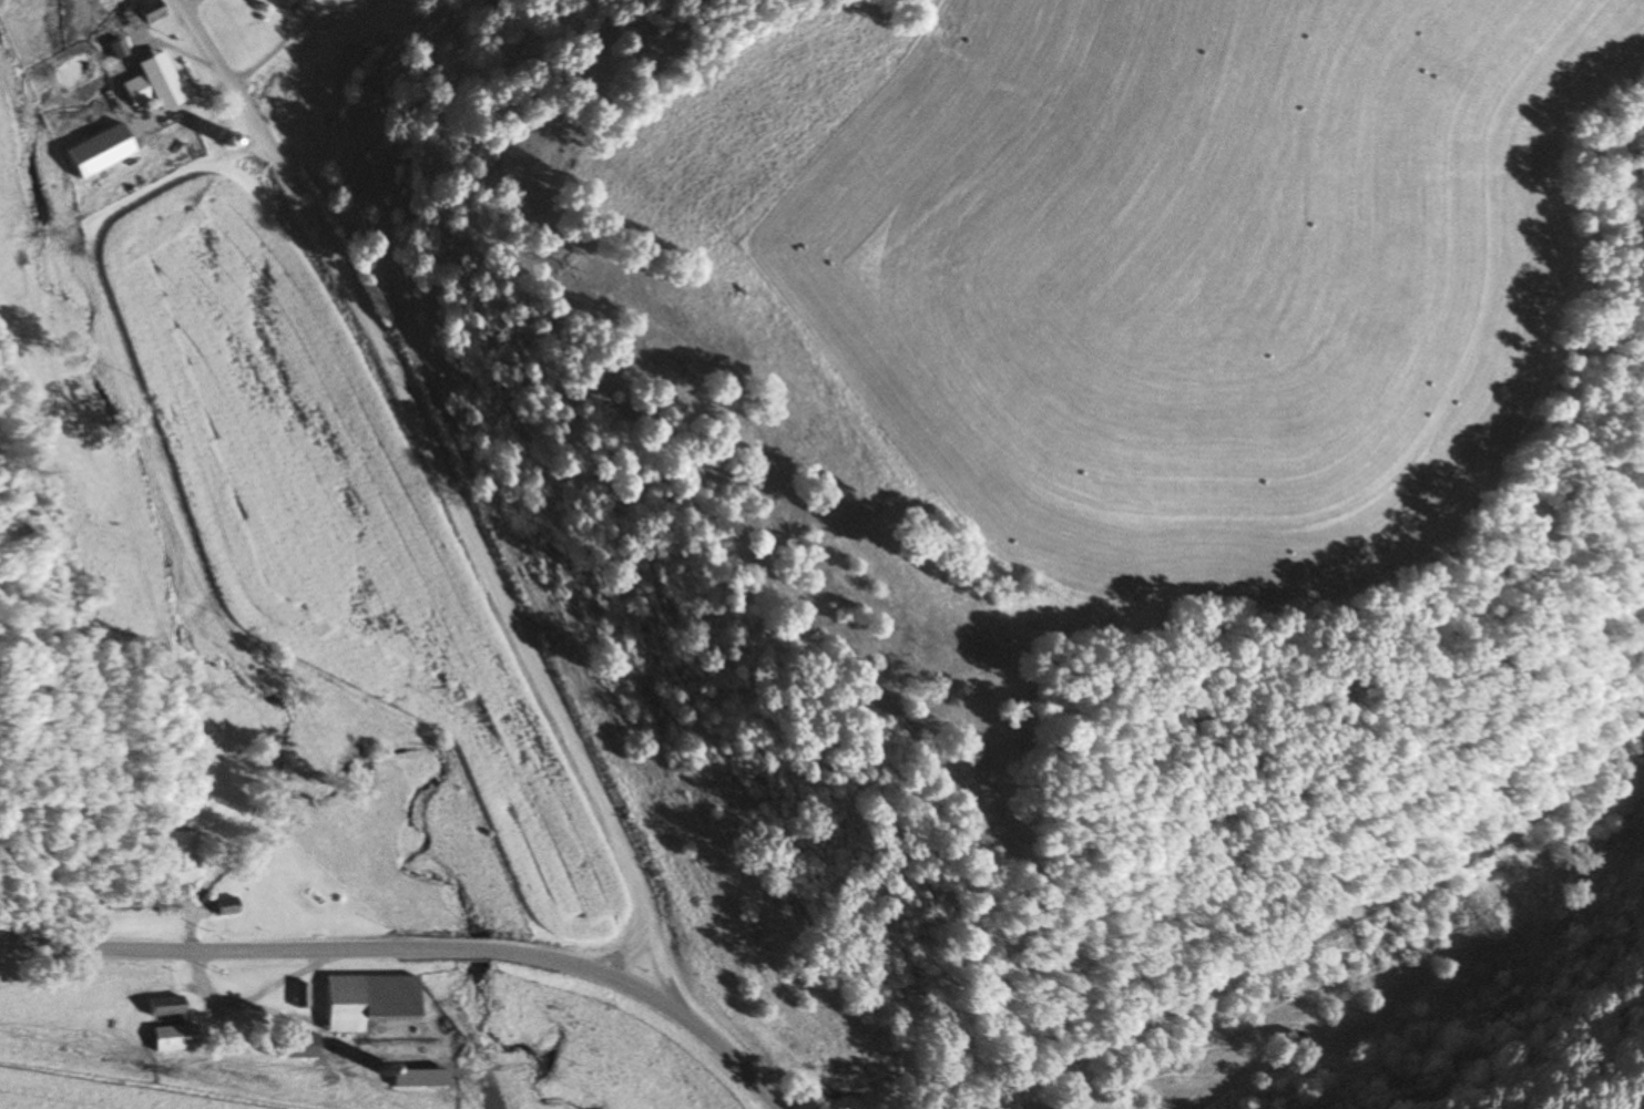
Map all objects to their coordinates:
building: (298, 0)
building: (142, 13)
crop: (44, 30)
building: (151, 86)
building: (96, 148)
crop: (1153, 263)
crop: (79, 407)
road: (458, 495)
building: (177, 848)
building: (224, 906)
road: (1313, 921)
road: (417, 944)
road: (632, 944)
building: (365, 999)
building: (163, 1005)
building: (172, 1037)
building: (1285, 1044)
building: (299, 1045)
crop: (98, 1092)

